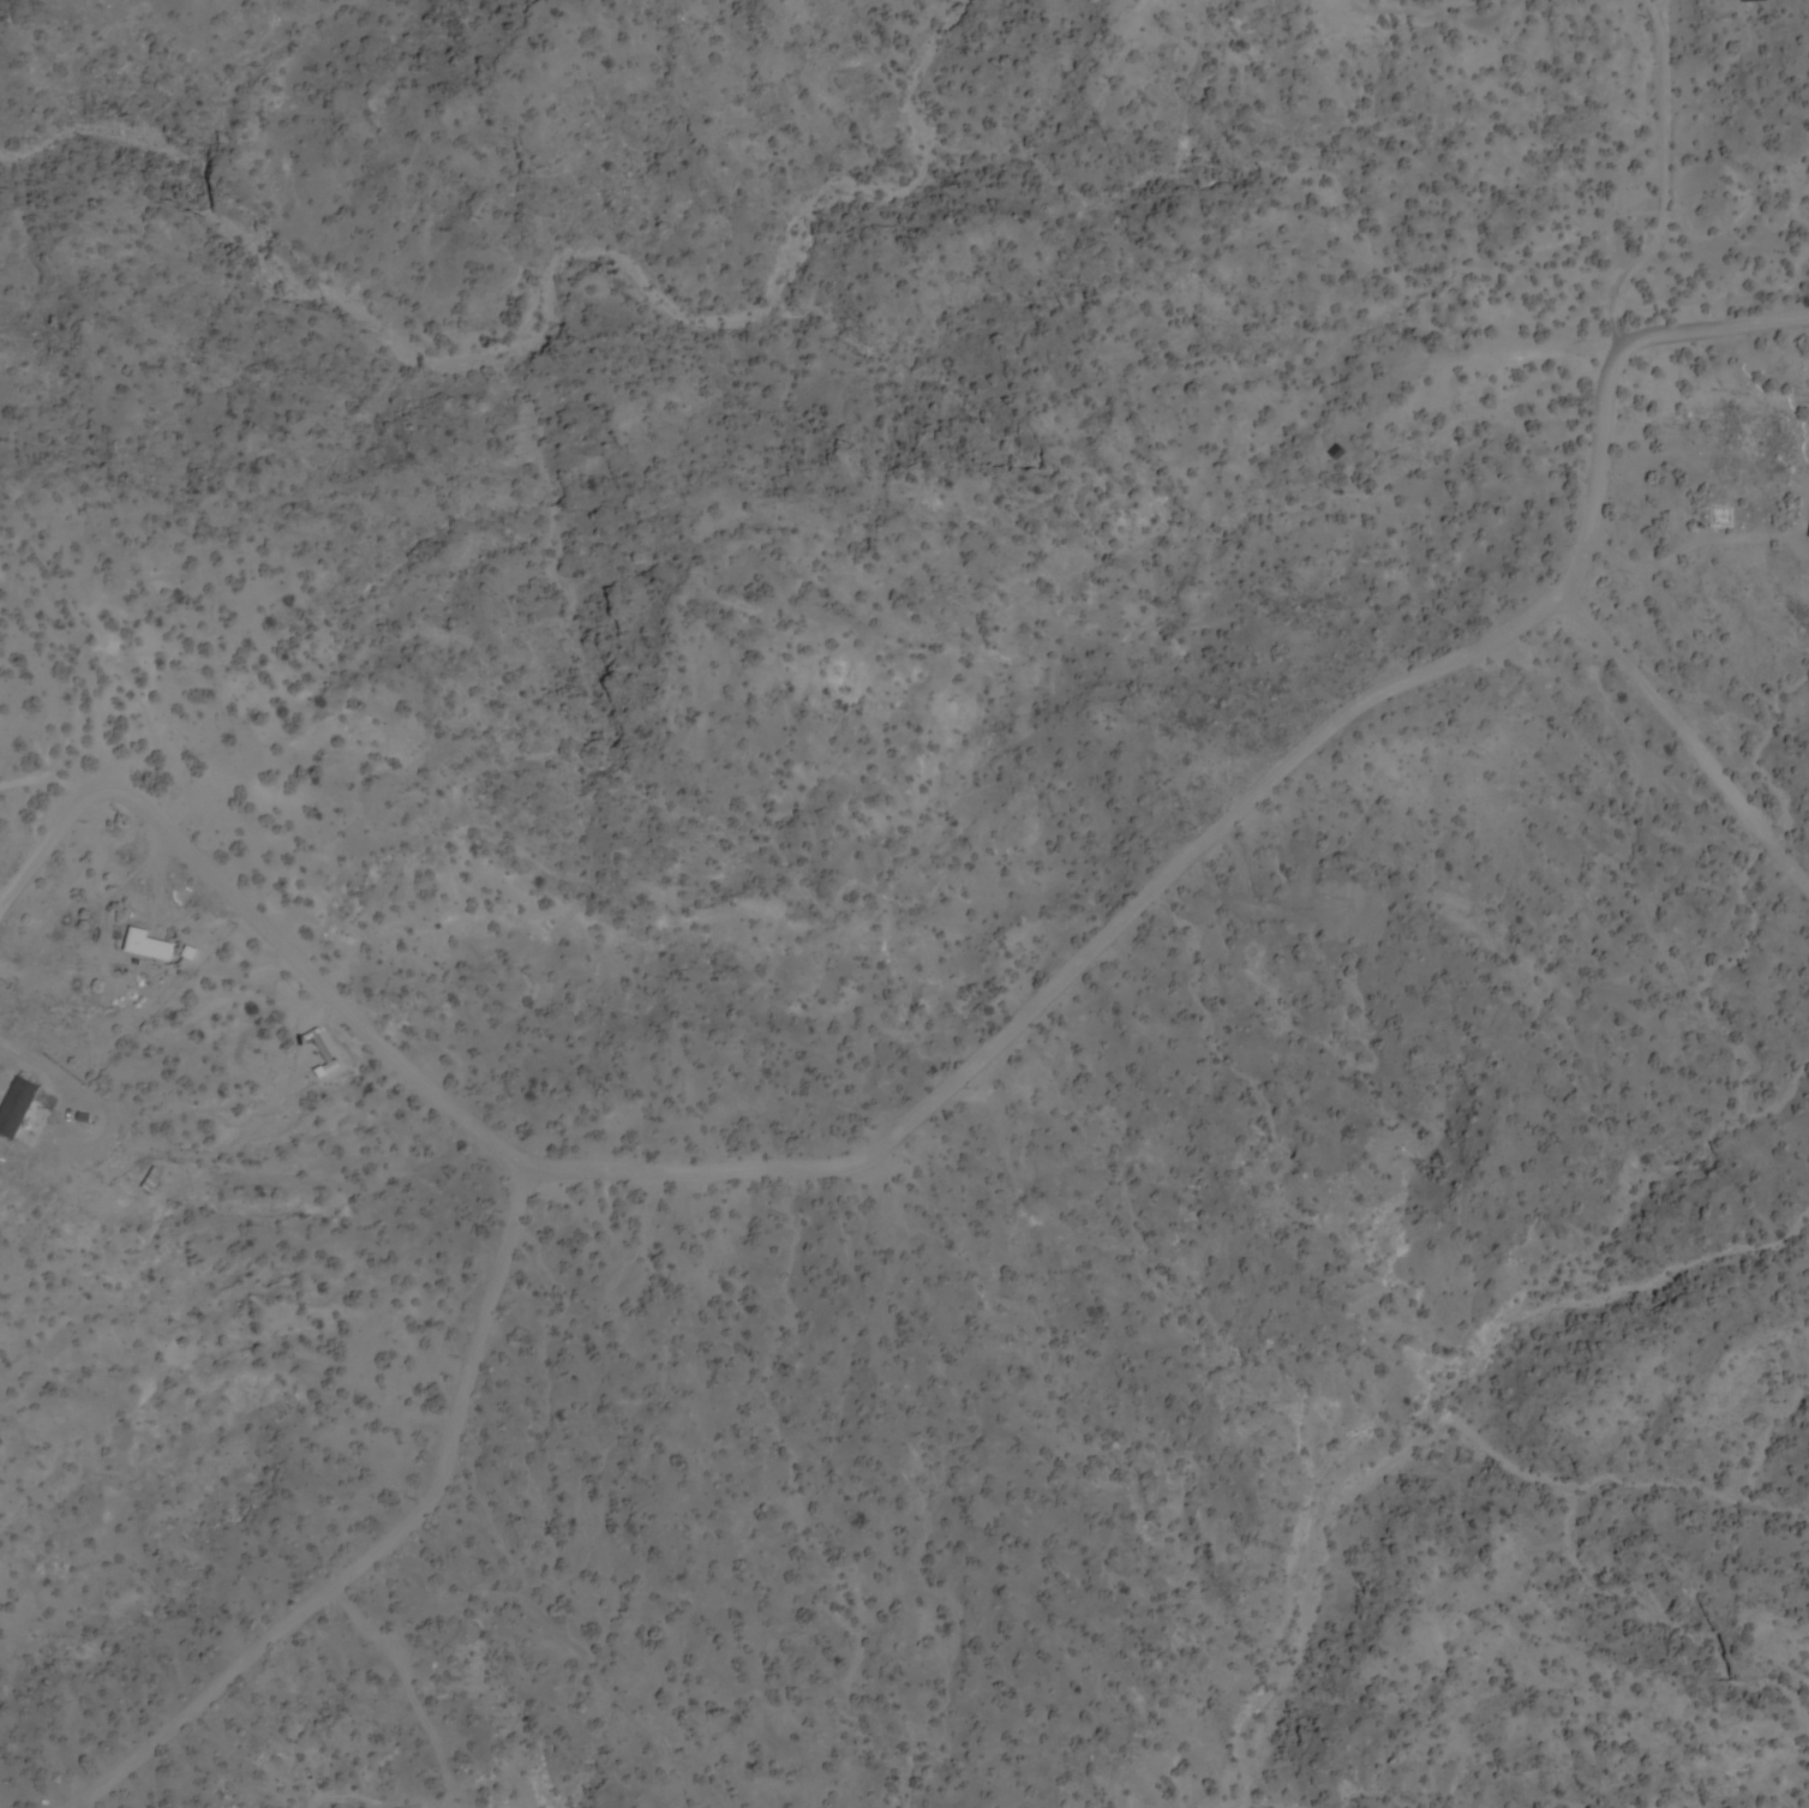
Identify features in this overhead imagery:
road: (1658, 174)
building: (1338, 454)
road: (1687, 741)
building: (1443, 813)
building: (148, 947)
road: (959, 1070)
building: (16, 1108)
building: (152, 1181)
road: (378, 1541)

